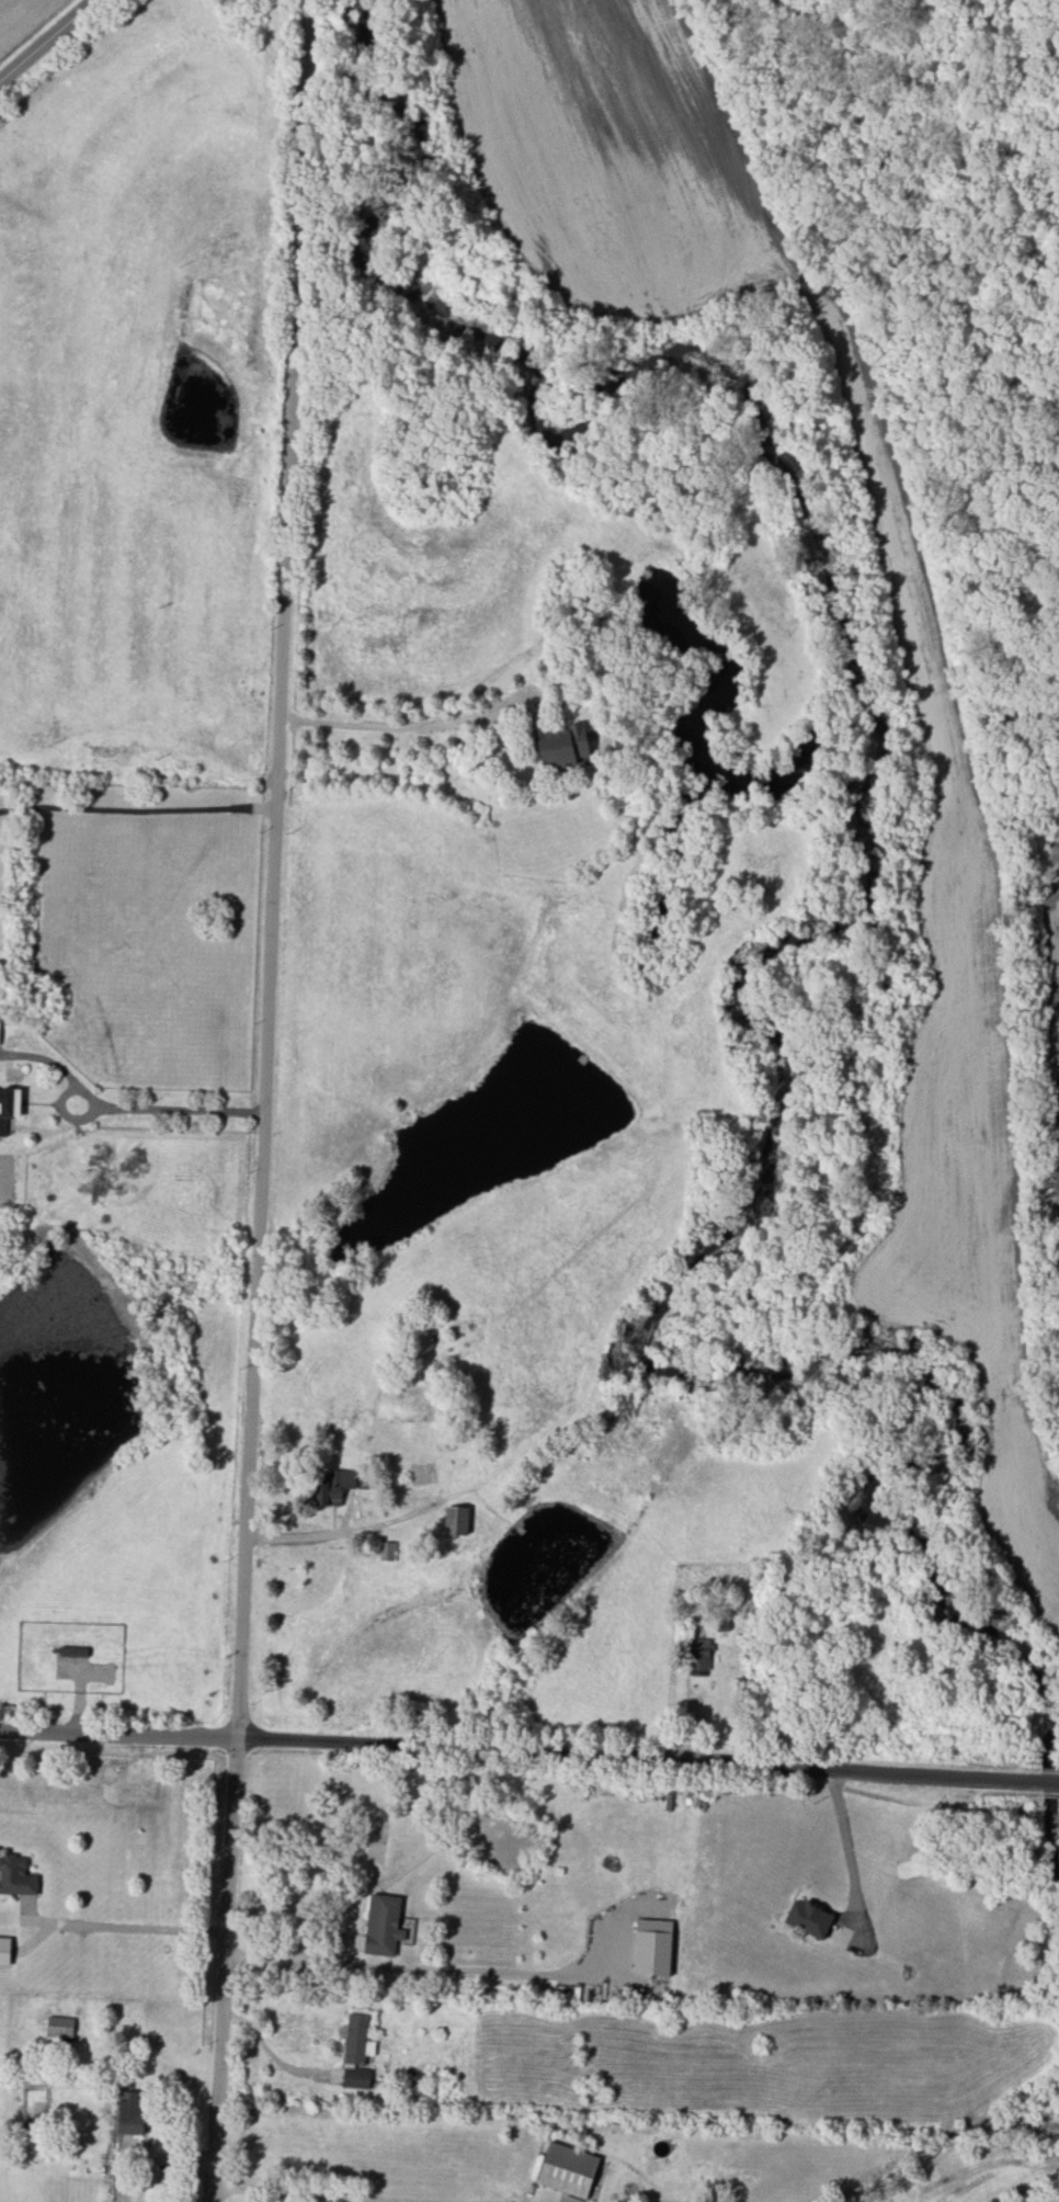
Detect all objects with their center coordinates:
crop: (15, 13)
road: (44, 37)
crop: (503, 564)
crop: (931, 695)
road: (409, 725)
building: (559, 741)
road: (137, 806)
crop: (1049, 947)
road: (262, 1100)
building: (9, 1106)
road: (178, 1110)
building: (334, 1487)
crop: (1021, 1500)
building: (456, 1520)
building: (387, 1551)
building: (699, 1654)
road: (529, 1748)
road: (842, 1835)
building: (16, 1875)
building: (808, 1918)
building: (386, 1926)
road: (137, 1928)
building: (653, 1946)
building: (4, 1951)
road: (408, 1967)
building: (60, 2027)
building: (357, 2039)
building: (356, 2078)
building: (130, 2113)
building: (568, 2169)
road: (277, 2194)

